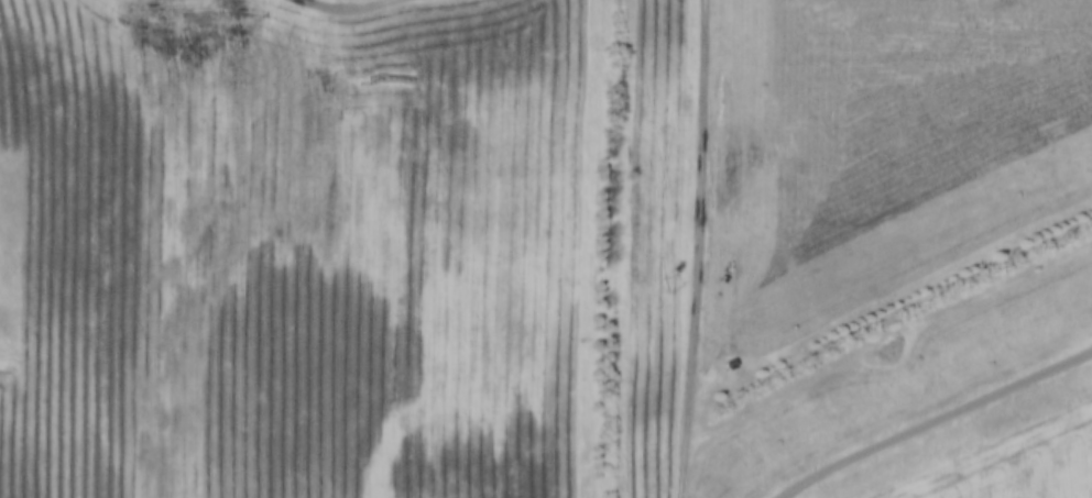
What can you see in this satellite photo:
road: (367, 9)
road: (695, 248)
road: (938, 424)

